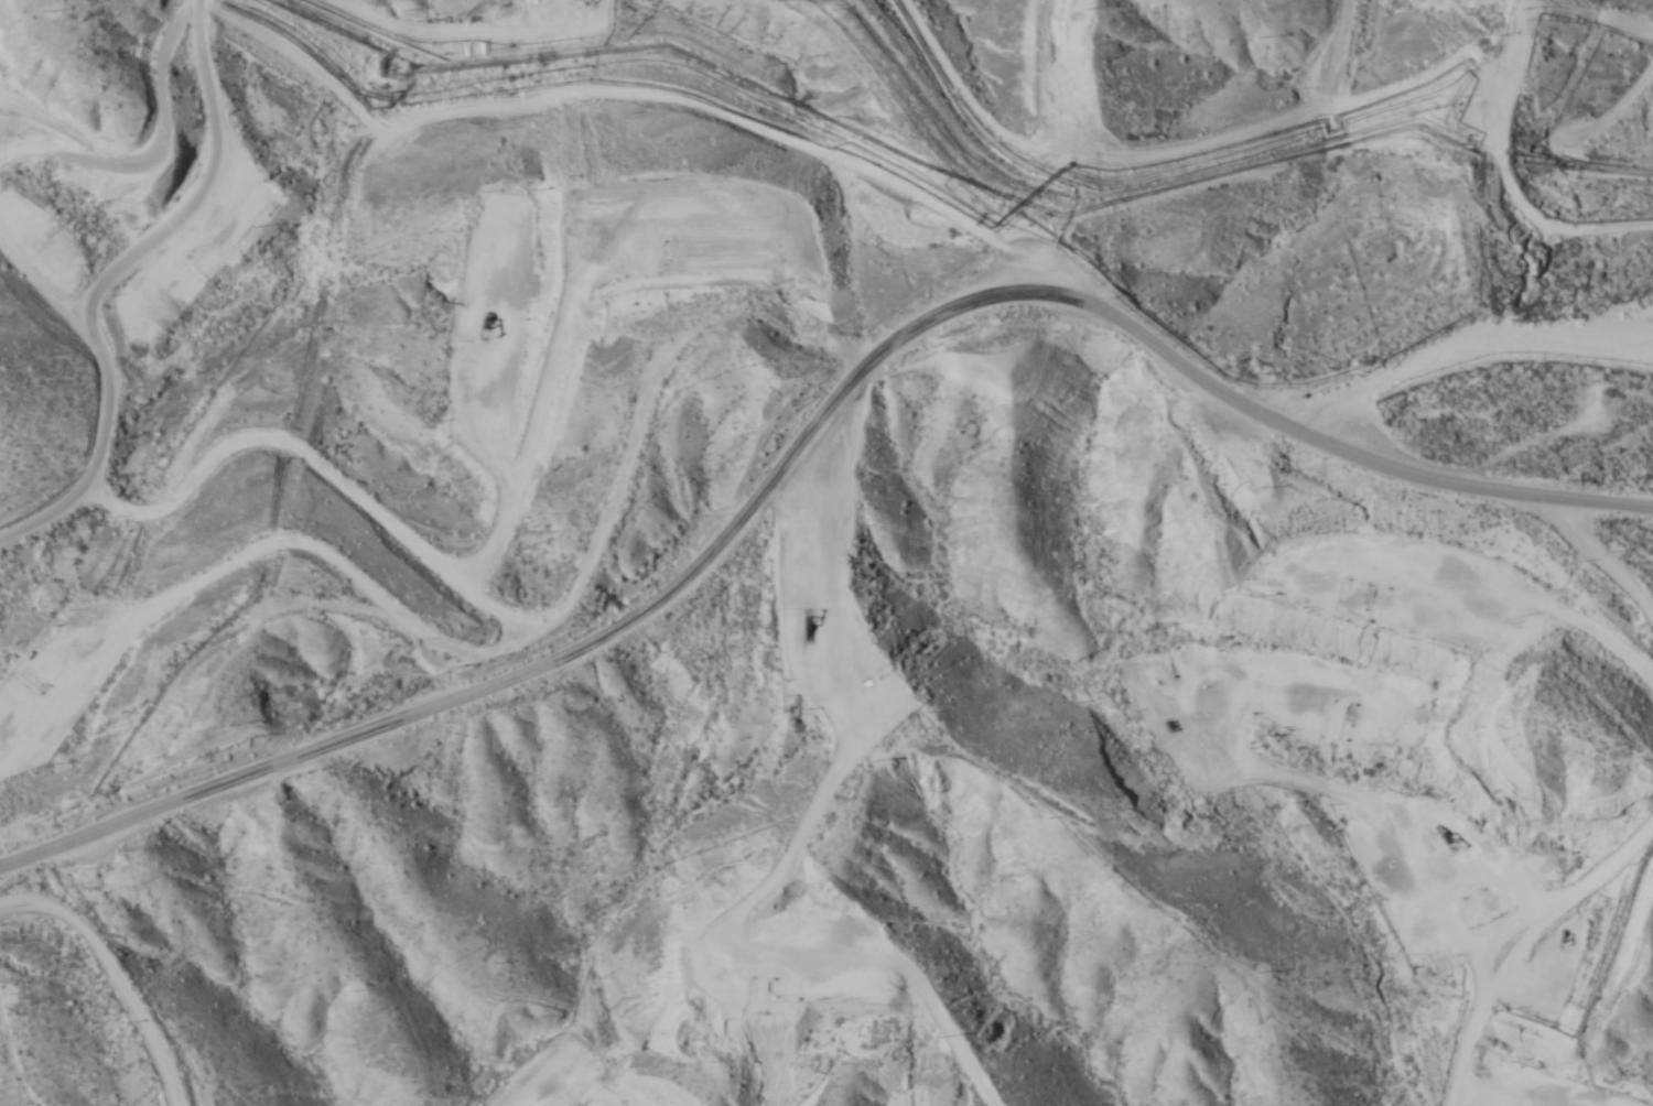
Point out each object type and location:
road: (158, 153)
road: (838, 345)
road: (105, 400)
road: (807, 430)
road: (114, 974)

